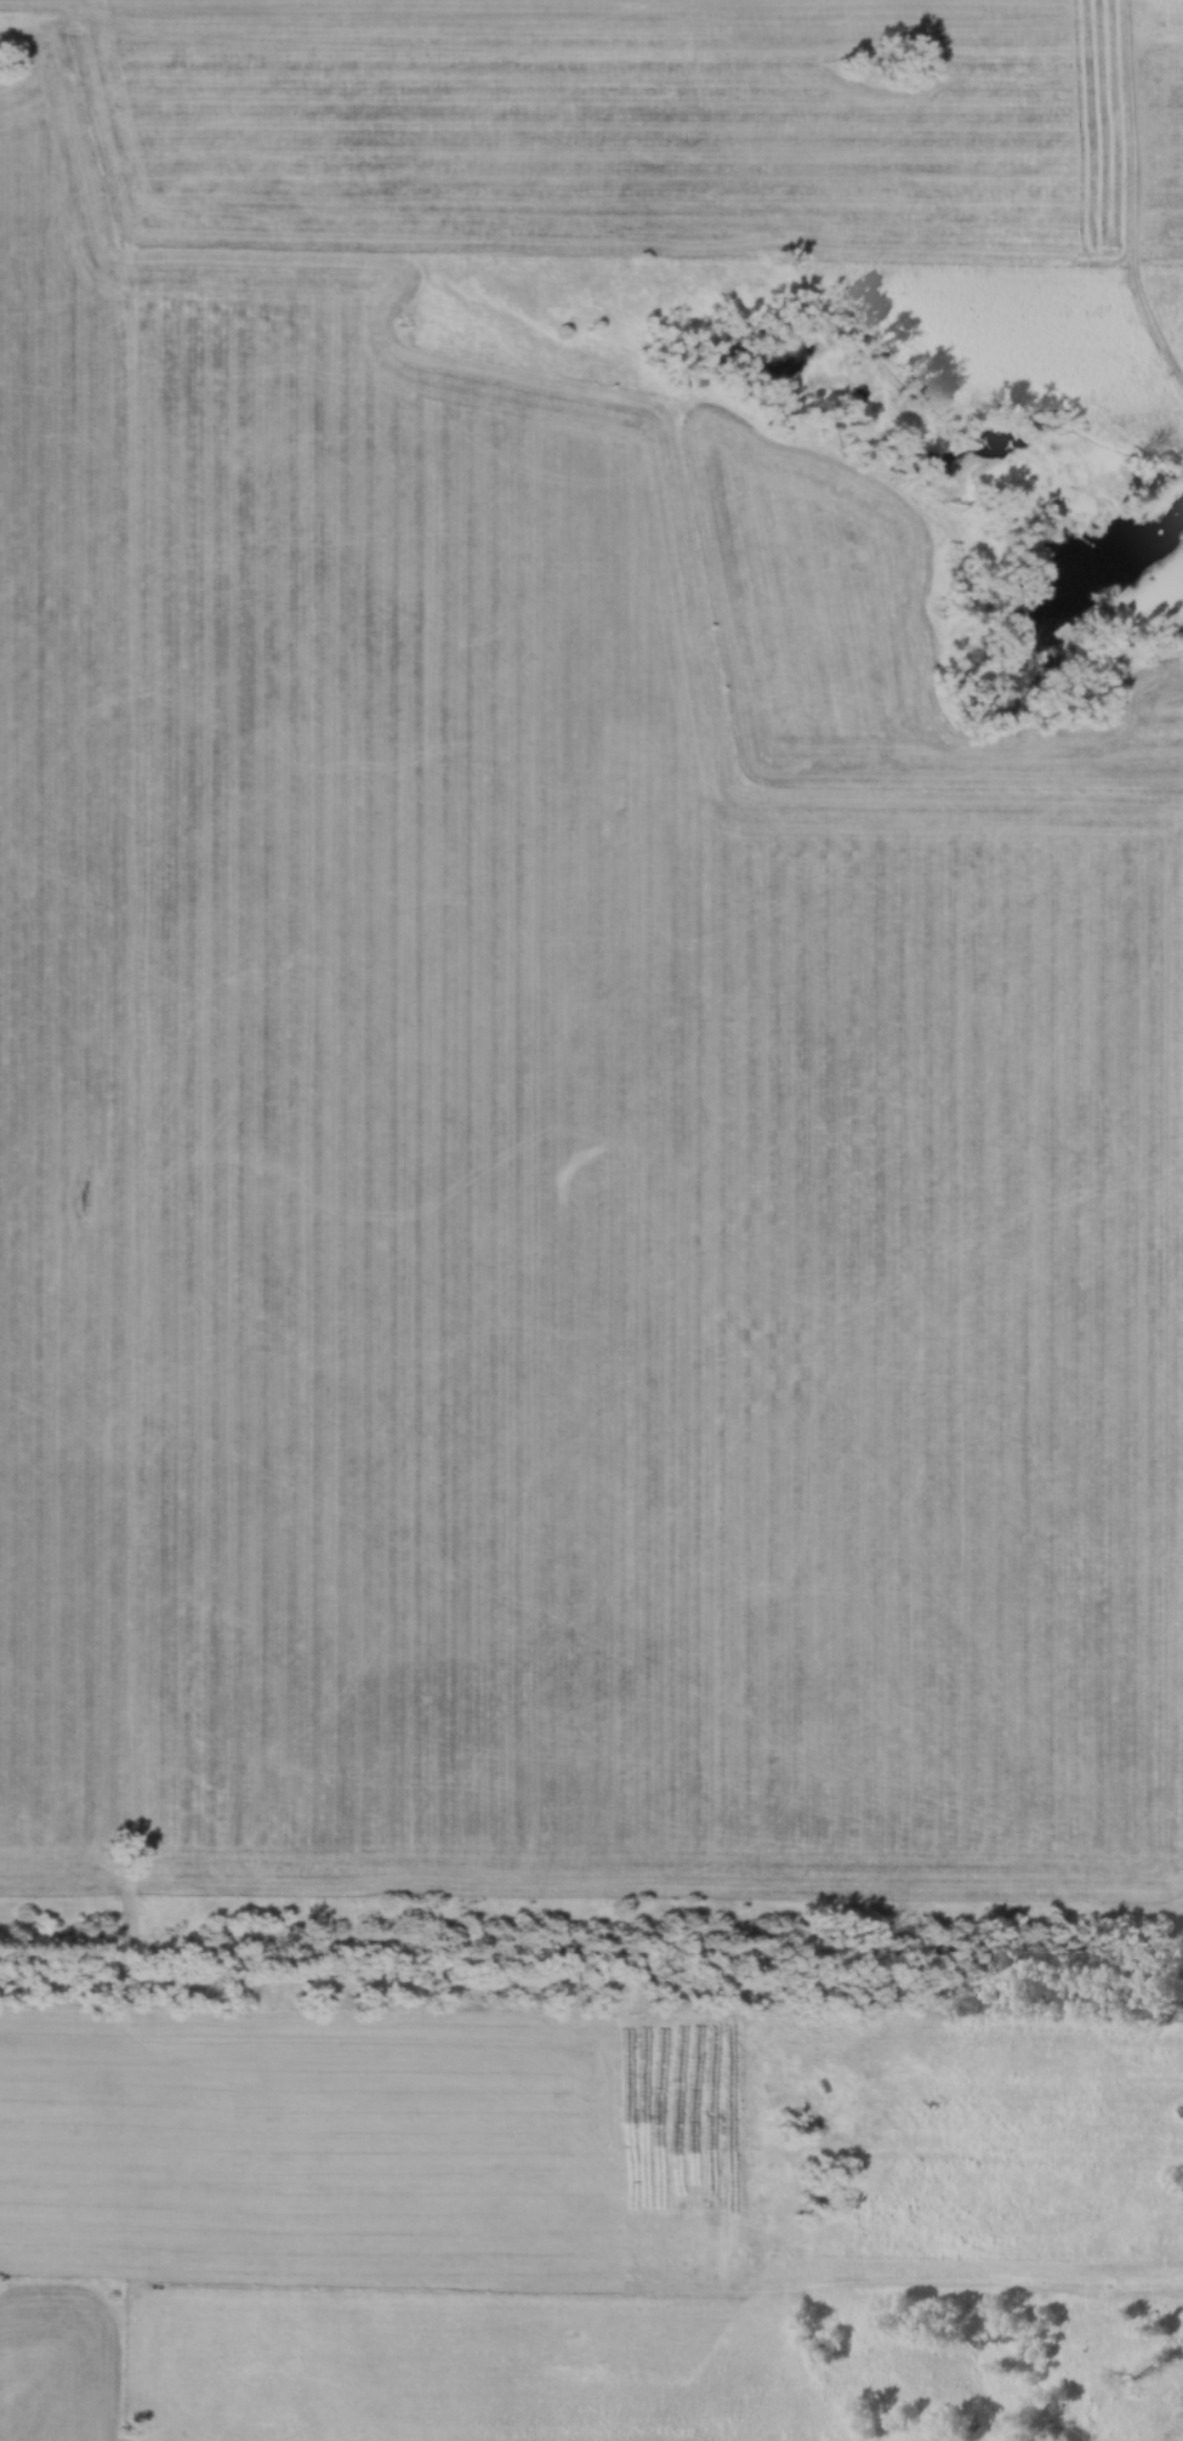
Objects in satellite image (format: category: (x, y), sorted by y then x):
road: (380, 40)

